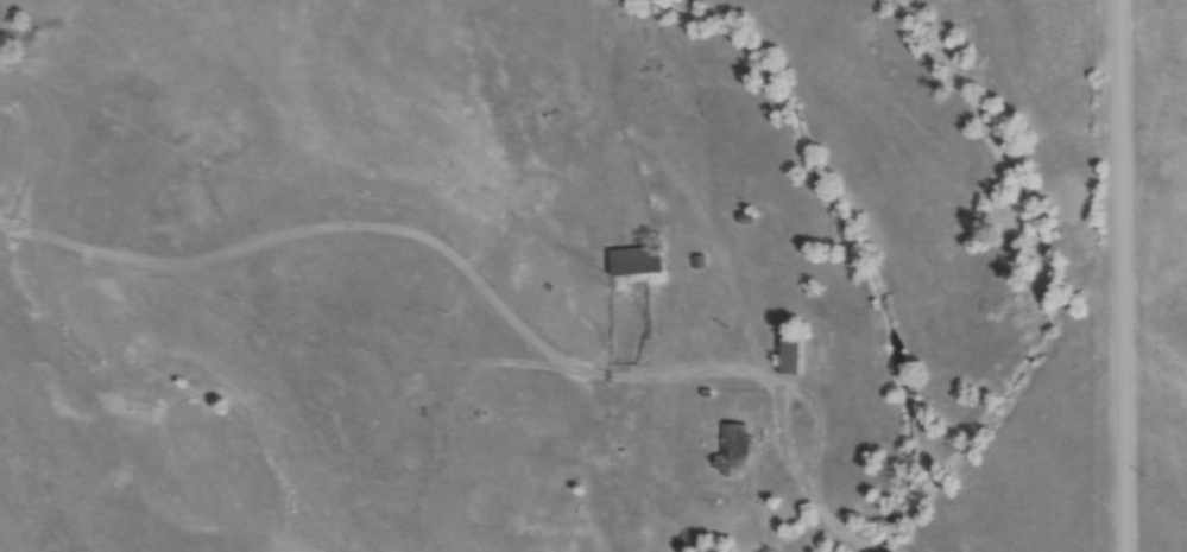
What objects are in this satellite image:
building: (634, 265)
road: (1117, 275)
building: (789, 356)
building: (733, 453)

